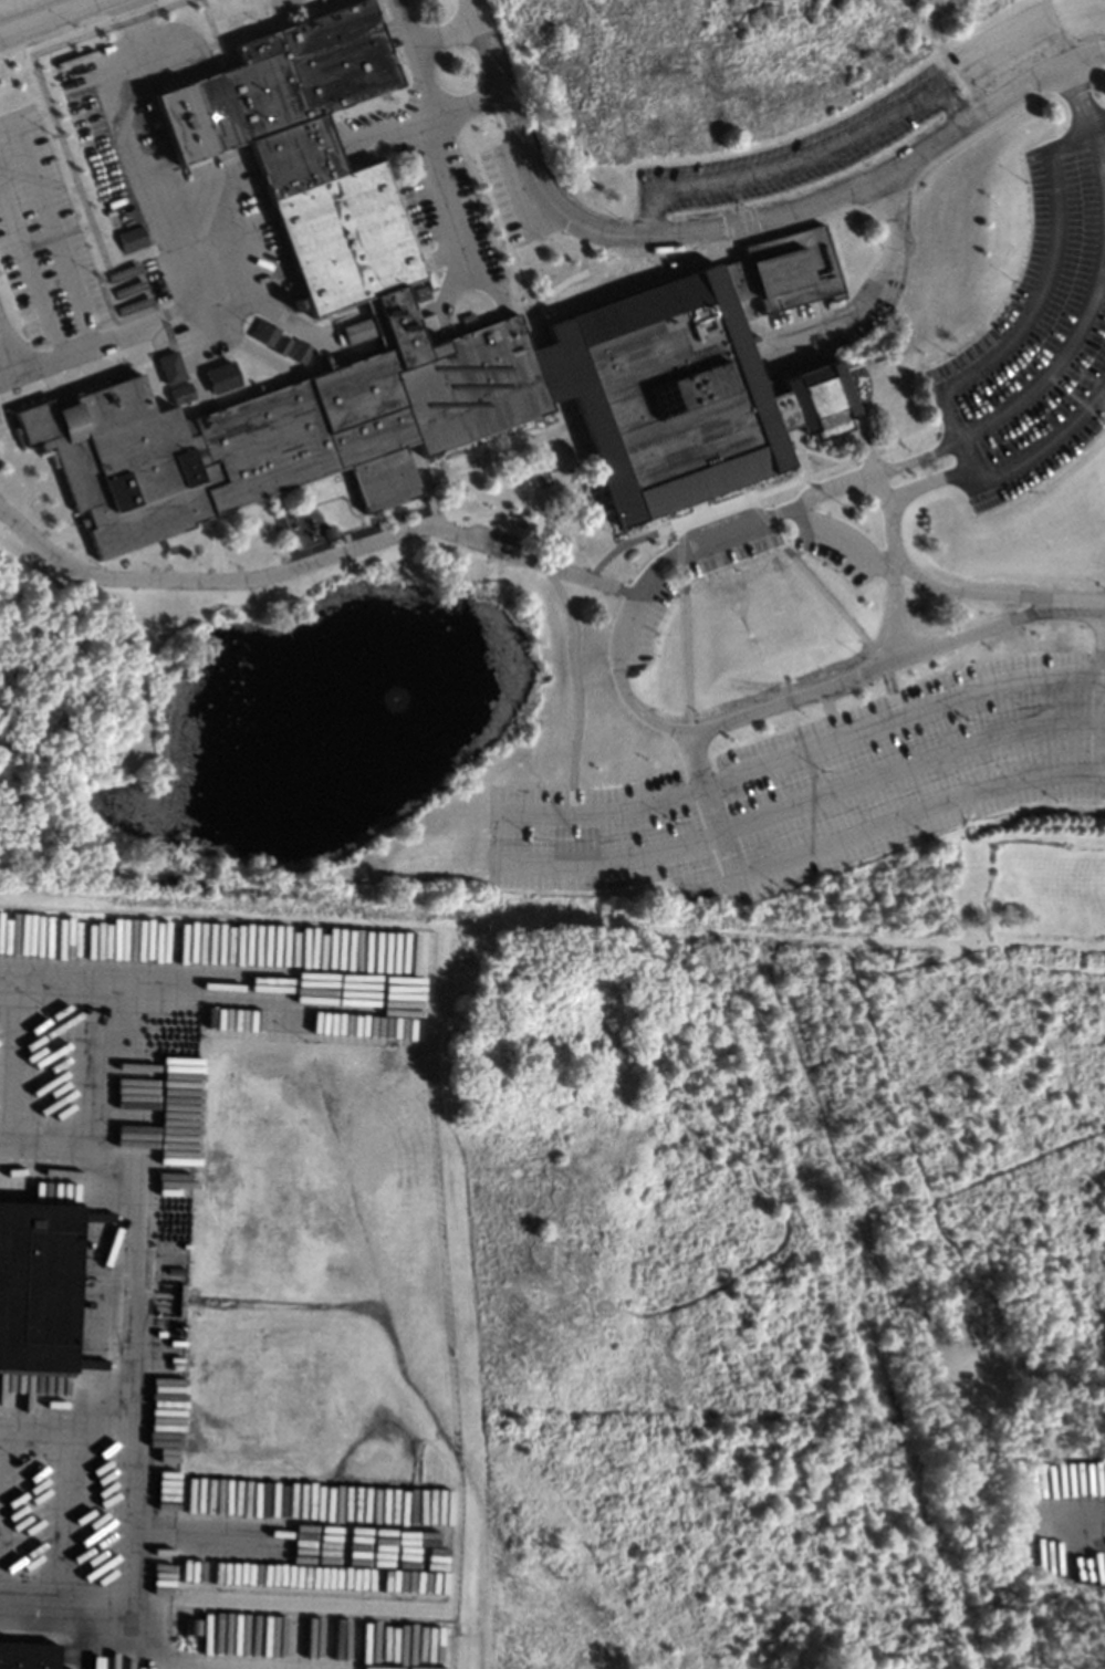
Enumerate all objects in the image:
road: (48, 17)
road: (447, 32)
road: (1003, 46)
road: (431, 118)
parking lot: (854, 122)
road: (126, 138)
road: (435, 138)
road: (805, 157)
parking lot: (461, 180)
road: (736, 223)
road: (51, 226)
building: (132, 238)
parking lot: (40, 248)
building: (671, 263)
road: (30, 270)
road: (1096, 274)
building: (754, 280)
road: (1042, 286)
road: (880, 288)
road: (183, 310)
building: (355, 331)
building: (264, 333)
parking lot: (1035, 335)
building: (281, 344)
building: (299, 351)
road: (7, 353)
building: (169, 367)
building: (221, 377)
building: (180, 393)
road: (1040, 446)
road: (963, 452)
road: (869, 465)
road: (763, 490)
road: (790, 505)
building: (326, 531)
road: (887, 534)
road: (312, 560)
road: (913, 572)
road: (810, 580)
parking lot: (651, 588)
road: (1083, 604)
road: (681, 626)
road: (1104, 676)
road: (1102, 684)
road: (575, 685)
road: (786, 698)
road: (899, 716)
road: (1098, 748)
road: (696, 758)
road: (908, 763)
road: (1101, 774)
parking lot: (820, 785)
road: (886, 824)
road: (719, 830)
road: (499, 844)
road: (208, 984)
road: (12, 1060)
road: (96, 1064)
road: (114, 1279)
building: (37, 1287)
road: (134, 1287)
road: (63, 1510)
road: (289, 1535)
road: (125, 1574)
building: (28, 1621)
road: (135, 1642)
building: (27, 1655)

